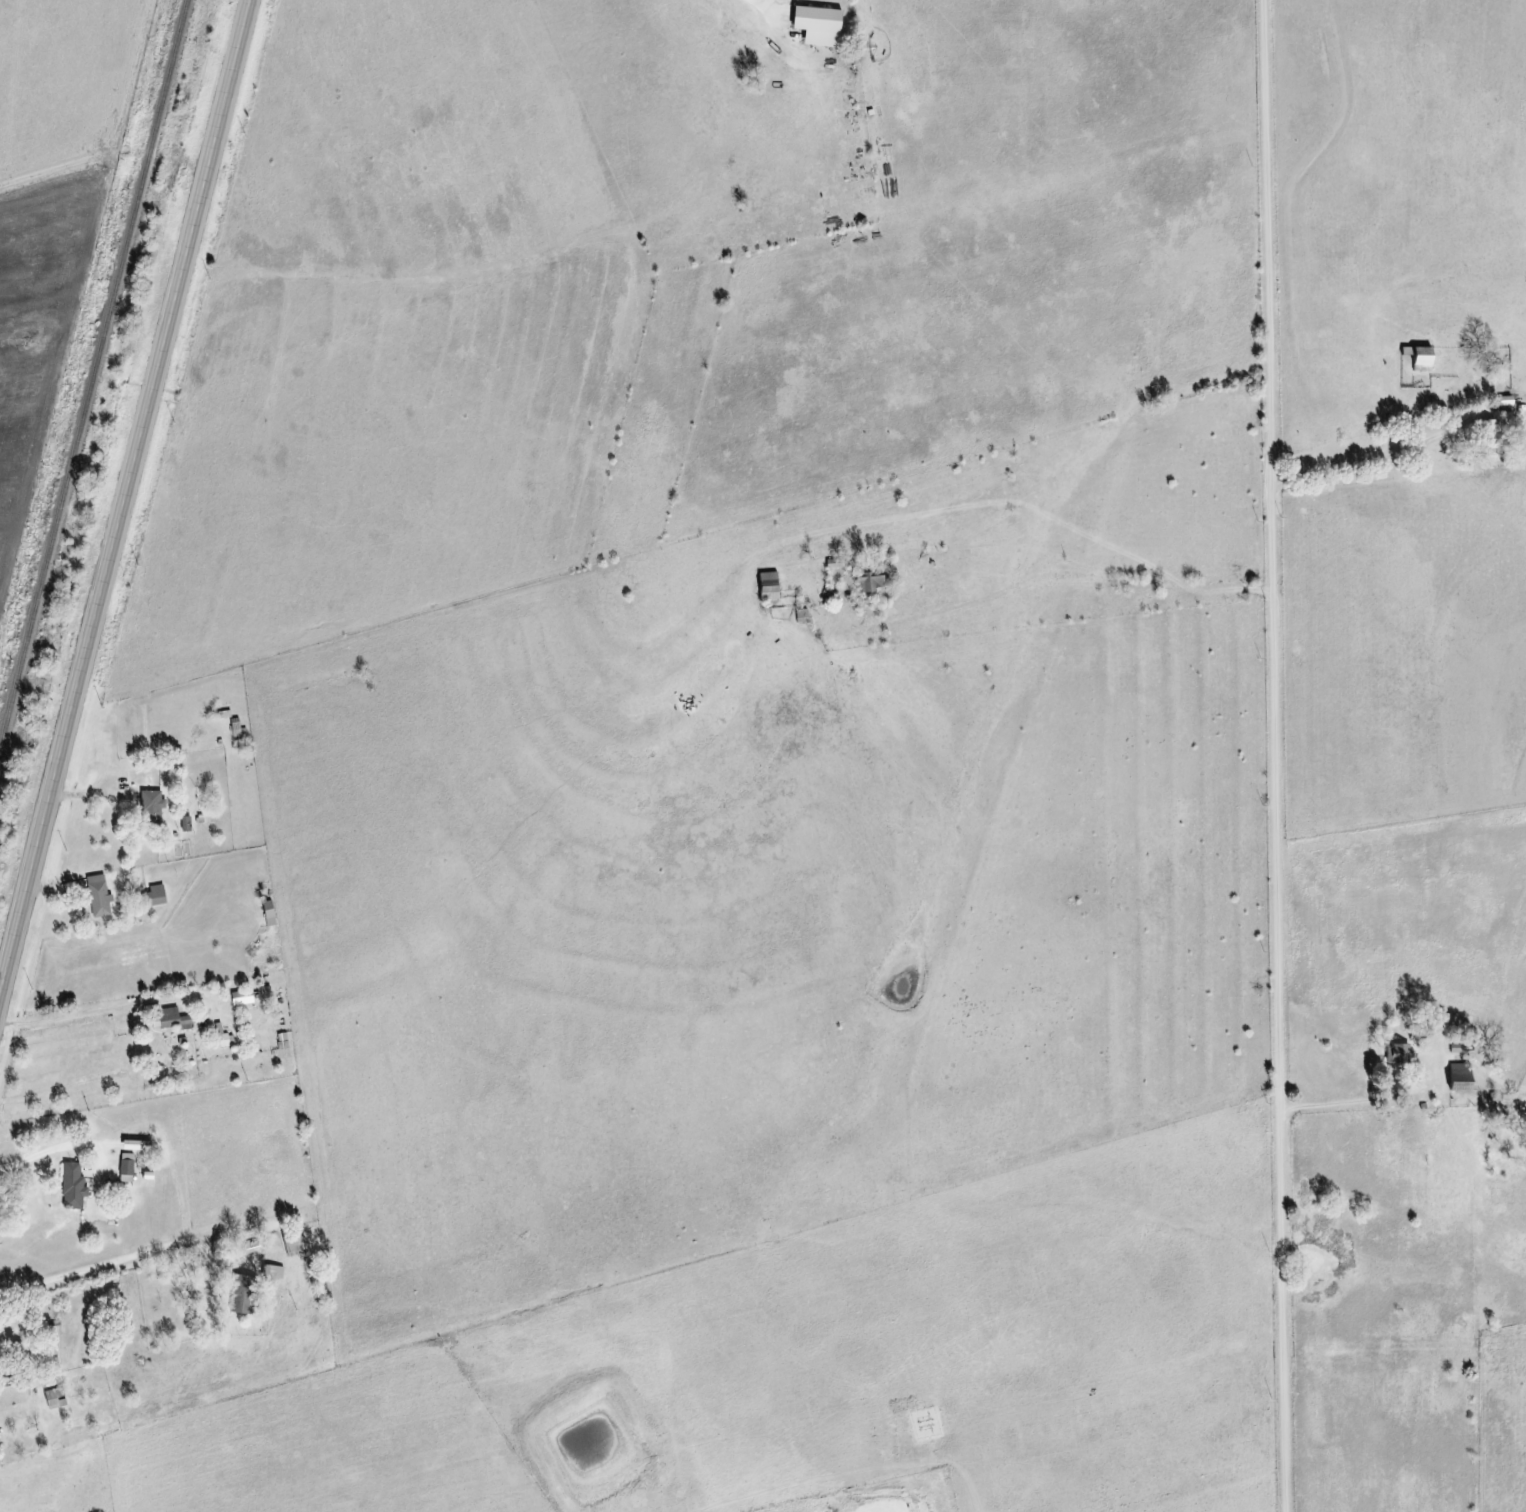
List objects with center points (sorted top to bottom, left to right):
building: (814, 25)
building: (1416, 355)
railway: (91, 365)
building: (1489, 433)
road: (129, 497)
road: (1054, 574)
building: (867, 582)
building: (765, 586)
road: (1274, 756)
building: (184, 824)
building: (154, 895)
building: (97, 896)
building: (240, 997)
building: (171, 1019)
building: (223, 1037)
building: (1395, 1054)
building: (1456, 1077)
building: (133, 1145)
building: (125, 1168)
building: (71, 1187)
building: (291, 1247)
building: (271, 1272)
building: (241, 1295)
building: (53, 1398)

